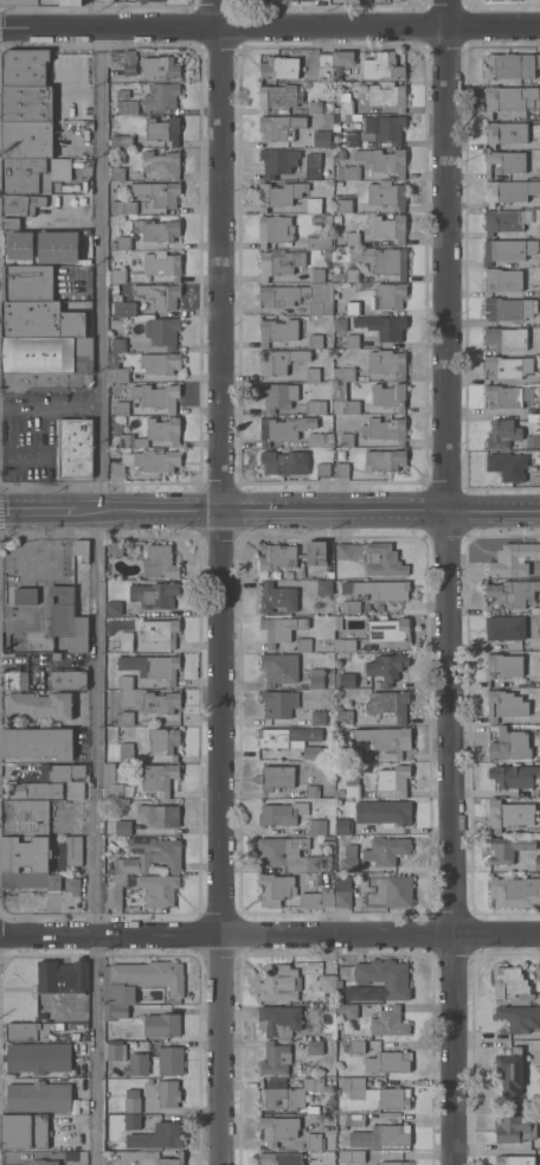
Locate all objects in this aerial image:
building: (107, 0)
building: (149, 0)
building: (40, 2)
road: (88, 12)
road: (269, 24)
building: (123, 60)
building: (341, 62)
building: (510, 65)
building: (25, 66)
building: (278, 66)
building: (324, 66)
building: (382, 66)
building: (160, 68)
building: (122, 94)
building: (387, 95)
building: (162, 96)
building: (278, 97)
building: (513, 101)
building: (27, 103)
building: (127, 107)
building: (346, 107)
building: (315, 108)
building: (279, 127)
building: (385, 128)
building: (163, 129)
building: (504, 133)
building: (321, 137)
building: (27, 139)
building: (351, 139)
building: (122, 141)
building: (341, 154)
building: (382, 160)
building: (277, 161)
building: (504, 162)
building: (161, 164)
building: (313, 165)
building: (348, 172)
building: (33, 173)
building: (117, 173)
building: (57, 186)
building: (509, 191)
building: (159, 193)
building: (278, 193)
building: (387, 194)
building: (21, 204)
building: (314, 205)
building: (343, 205)
building: (123, 207)
building: (322, 218)
building: (502, 222)
building: (11, 223)
building: (390, 228)
building: (155, 230)
building: (275, 230)
building: (538, 230)
building: (353, 238)
building: (123, 243)
building: (317, 243)
building: (112, 245)
building: (57, 247)
building: (507, 249)
building: (32, 251)
building: (381, 260)
building: (279, 262)
building: (161, 264)
building: (317, 275)
building: (352, 275)
building: (118, 276)
building: (502, 280)
building: (28, 282)
building: (539, 289)
building: (160, 295)
building: (390, 295)
building: (279, 300)
building: (124, 308)
building: (353, 308)
building: (509, 308)
building: (539, 319)
building: (40, 320)
building: (340, 324)
building: (384, 327)
building: (162, 332)
building: (277, 332)
building: (506, 338)
building: (315, 341)
building: (353, 341)
building: (117, 345)
building: (47, 354)
building: (112, 359)
building: (279, 359)
building: (161, 363)
building: (387, 363)
building: (507, 366)
building: (313, 373)
building: (345, 373)
building: (117, 375)
building: (539, 377)
building: (39, 380)
building: (156, 396)
building: (277, 396)
building: (388, 396)
building: (507, 396)
building: (343, 399)
building: (315, 407)
building: (539, 407)
building: (120, 408)
building: (533, 417)
building: (283, 429)
building: (385, 429)
building: (154, 433)
building: (502, 433)
building: (320, 440)
building: (347, 440)
building: (73, 447)
building: (386, 460)
building: (147, 462)
building: (279, 462)
building: (507, 466)
building: (322, 471)
building: (341, 471)
road: (270, 510)
building: (115, 549)
building: (83, 550)
building: (343, 551)
building: (316, 552)
building: (277, 556)
building: (382, 559)
building: (513, 559)
building: (159, 562)
road: (220, 582)
road: (450, 582)
building: (323, 587)
building: (382, 589)
building: (513, 593)
road: (102, 595)
building: (154, 595)
building: (25, 596)
building: (277, 597)
building: (351, 606)
building: (114, 608)
building: (67, 617)
building: (337, 622)
building: (506, 628)
building: (279, 629)
building: (390, 630)
building: (160, 632)
building: (126, 640)
building: (538, 644)
building: (304, 645)
building: (345, 645)
building: (503, 666)
building: (150, 667)
building: (386, 667)
building: (278, 668)
building: (316, 678)
building: (14, 679)
building: (67, 679)
building: (345, 680)
building: (126, 681)
building: (337, 694)
building: (160, 703)
building: (278, 704)
building: (390, 704)
building: (40, 705)
building: (504, 705)
building: (343, 716)
building: (123, 717)
building: (319, 717)
building: (287, 736)
building: (384, 738)
building: (163, 742)
building: (37, 743)
building: (509, 744)
building: (126, 753)
building: (317, 753)
building: (346, 754)
building: (65, 772)
building: (157, 777)
building: (276, 777)
building: (515, 777)
building: (393, 780)
building: (111, 782)
building: (351, 786)
building: (47, 789)
building: (311, 792)
building: (384, 812)
building: (282, 813)
building: (157, 815)
building: (508, 815)
building: (25, 818)
building: (343, 826)
building: (123, 827)
building: (317, 827)
building: (507, 849)
building: (73, 851)
building: (157, 851)
building: (385, 851)
building: (26, 853)
building: (290, 854)
building: (349, 858)
building: (536, 863)
building: (127, 865)
building: (31, 879)
building: (72, 885)
building: (275, 889)
building: (115, 890)
building: (157, 890)
building: (399, 891)
building: (514, 891)
building: (317, 898)
building: (343, 900)
road: (269, 935)
building: (380, 972)
building: (538, 973)
building: (63, 977)
building: (142, 980)
building: (328, 982)
building: (279, 984)
building: (340, 984)
building: (510, 984)
building: (328, 997)
building: (347, 1010)
building: (115, 1011)
building: (520, 1017)
building: (278, 1020)
building: (388, 1023)
building: (162, 1024)
building: (28, 1031)
building: (354, 1046)
building: (315, 1048)
building: (114, 1052)
building: (38, 1057)
building: (275, 1058)
building: (171, 1061)
building: (388, 1062)
building: (136, 1064)
building: (512, 1071)
building: (311, 1083)
building: (353, 1087)
building: (406, 1093)
building: (168, 1094)
building: (39, 1097)
building: (279, 1099)
building: (390, 1099)
building: (131, 1101)
building: (406, 1106)
building: (135, 1120)
building: (354, 1120)
building: (278, 1128)
building: (515, 1128)
building: (22, 1132)
building: (382, 1135)
building: (156, 1137)
building: (314, 1141)
building: (76, 1157)
building: (352, 1157)
building: (281, 1159)
building: (172, 1160)
building: (515, 1160)
building: (43, 1163)
building: (391, 1163)

